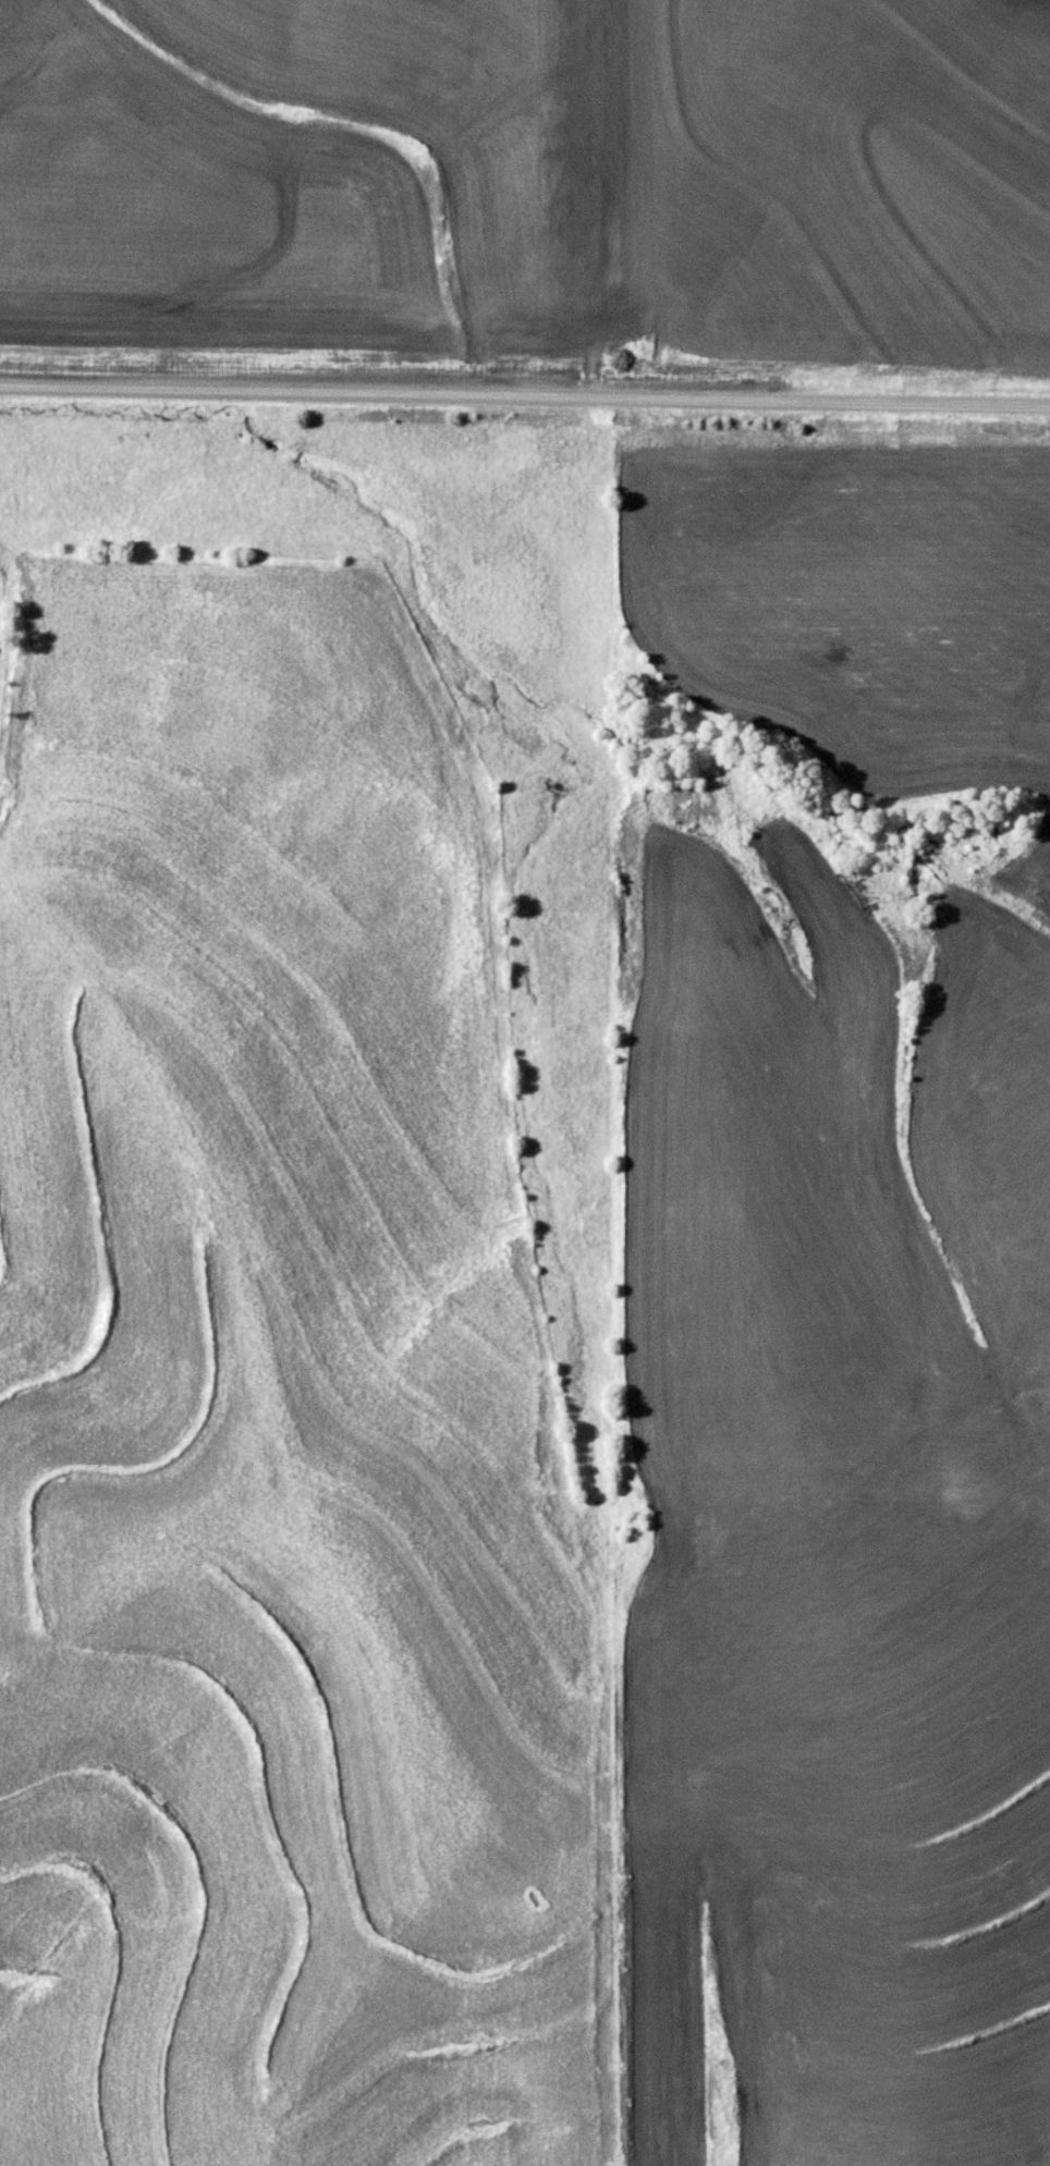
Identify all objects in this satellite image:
road: (524, 403)

